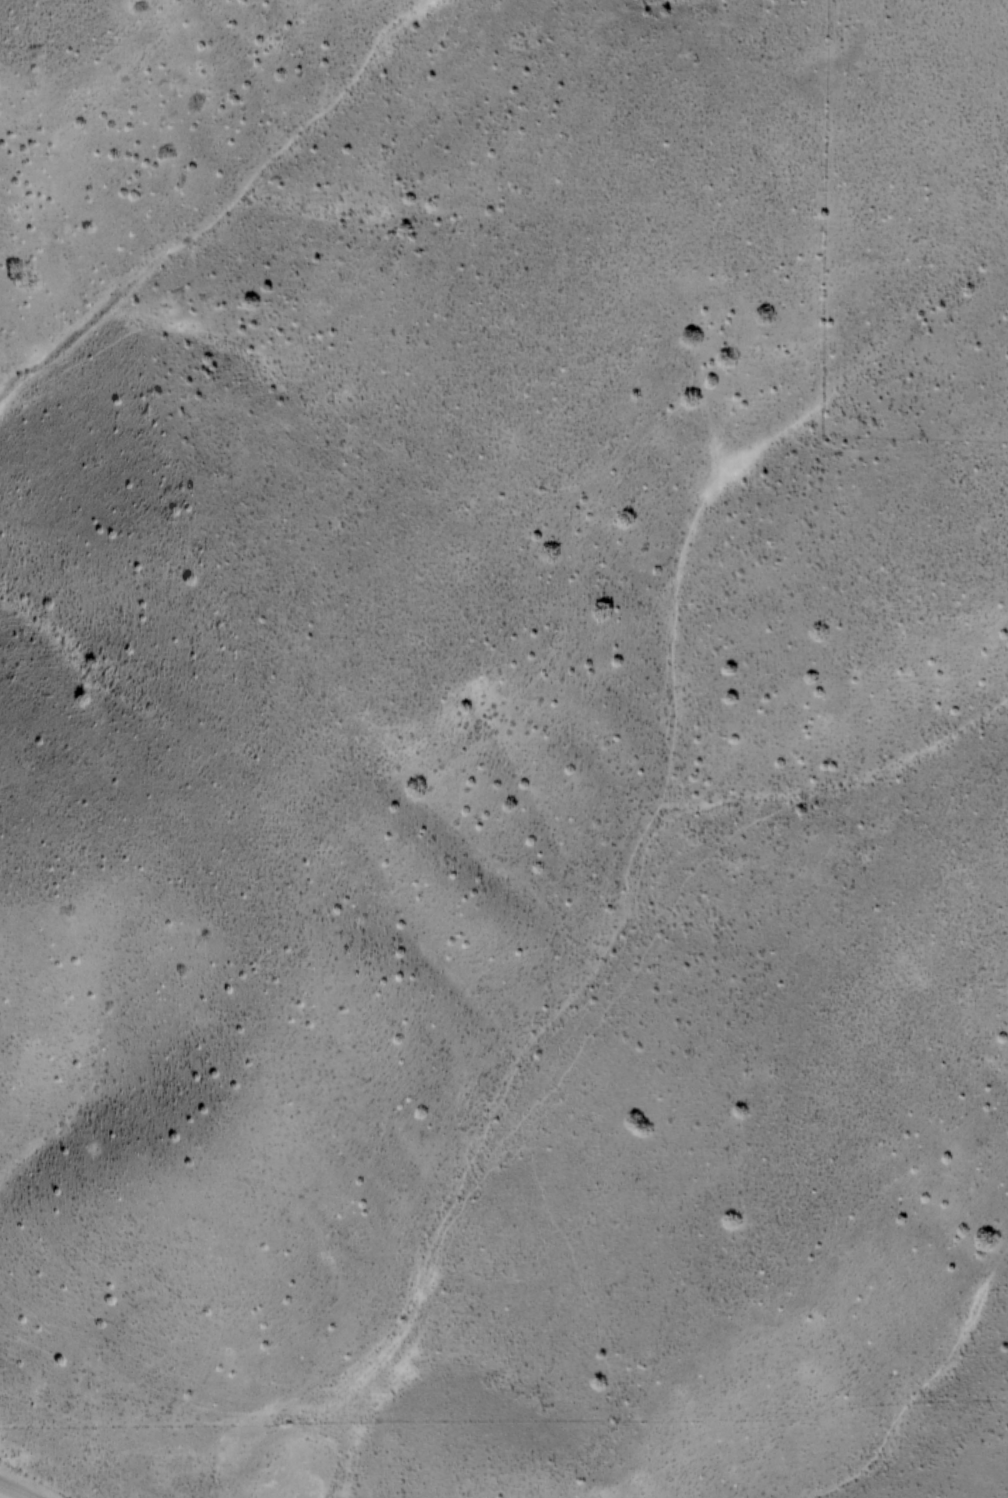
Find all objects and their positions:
road: (18, 1488)

